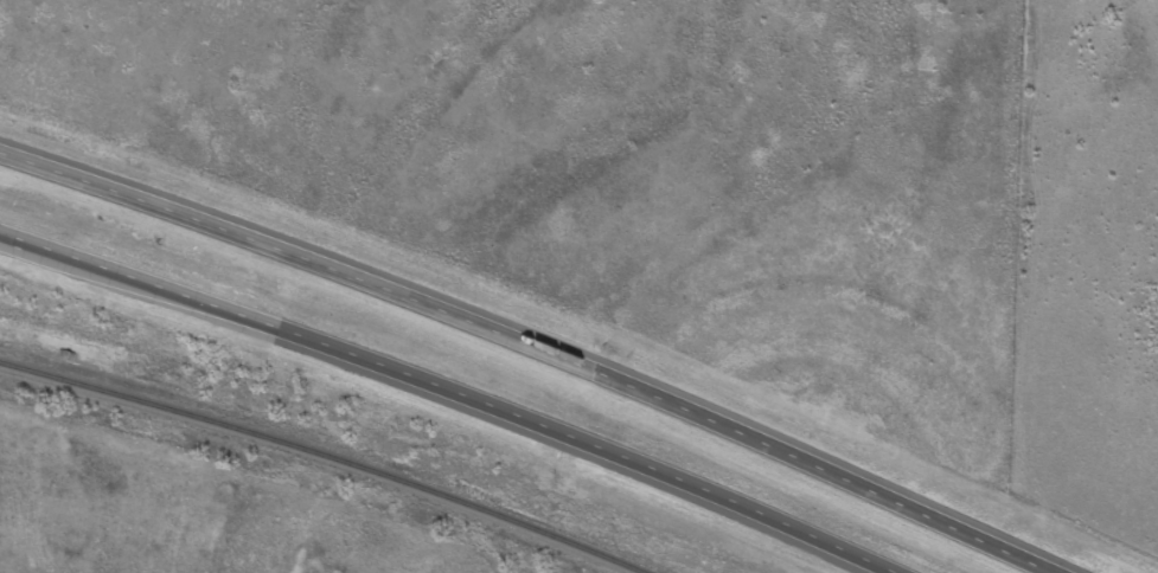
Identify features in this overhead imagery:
road: (281, 160)
road: (273, 236)
road: (269, 321)
railway: (322, 457)
road: (800, 457)
road: (710, 496)

